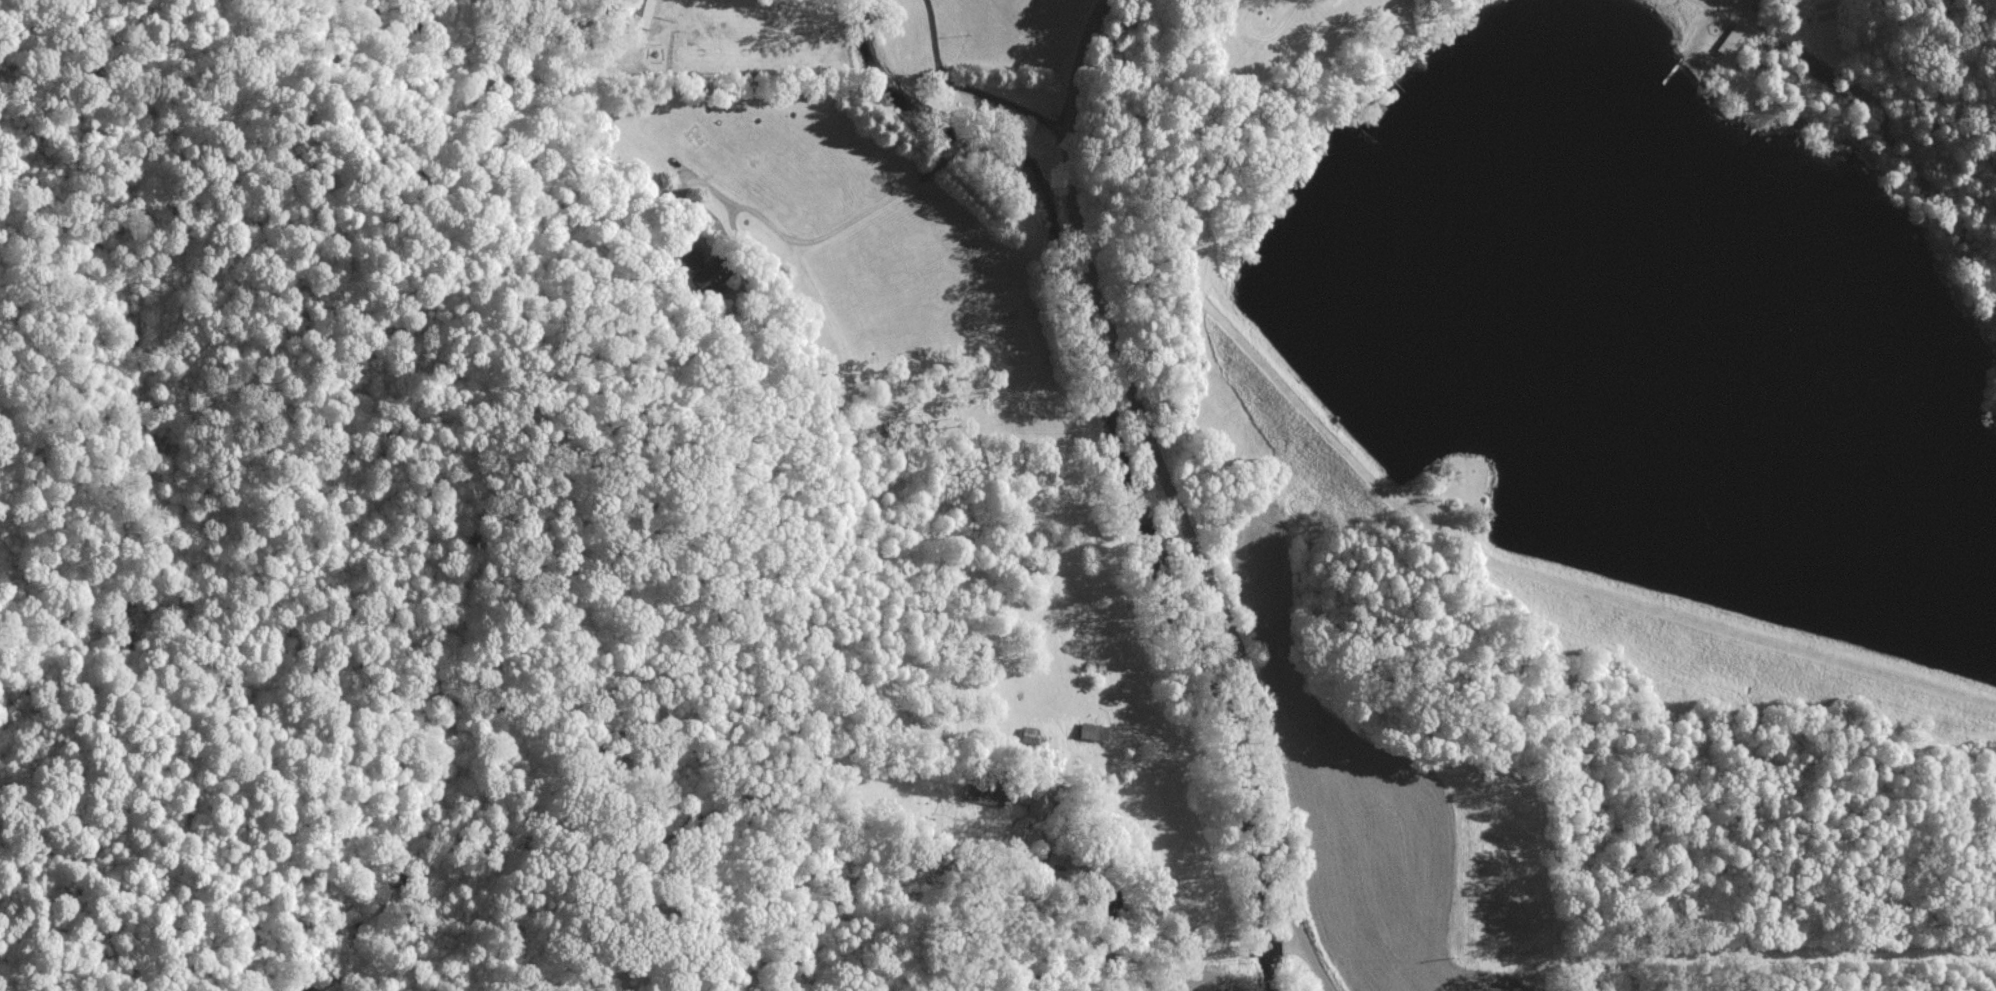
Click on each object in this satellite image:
building: (639, 9)
road: (969, 87)
road: (985, 105)
road: (960, 135)
road: (790, 239)
building: (704, 282)
road: (1175, 498)
building: (983, 793)
building: (1036, 802)
road: (1294, 947)
road: (1268, 948)
road: (1091, 964)

